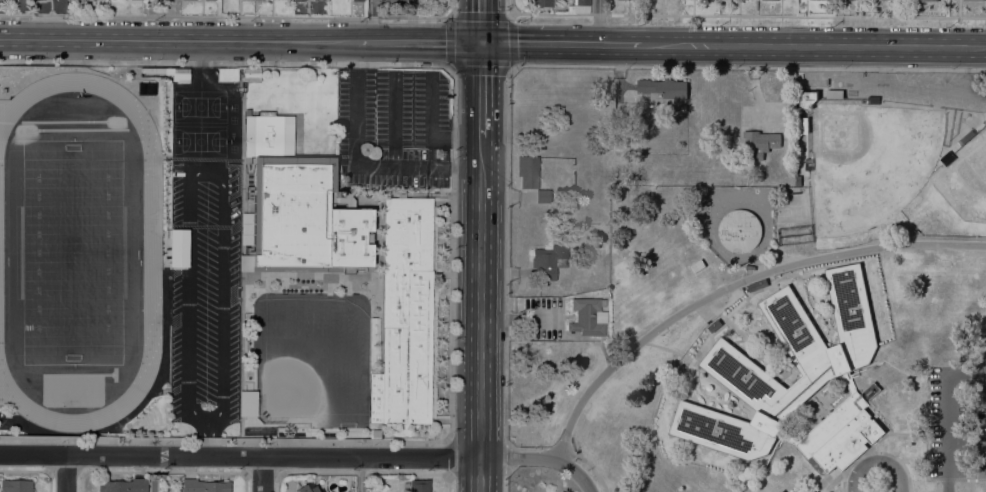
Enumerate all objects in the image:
building: (244, 0)
building: (298, 0)
building: (356, 0)
building: (395, 0)
building: (926, 0)
building: (132, 1)
building: (582, 2)
building: (540, 3)
building: (580, 9)
road: (738, 14)
road: (234, 16)
road: (509, 19)
road: (370, 20)
road: (479, 21)
road: (598, 21)
road: (178, 39)
road: (418, 41)
traffic signals: (479, 43)
road: (560, 43)
road: (814, 45)
road: (412, 65)
road: (560, 66)
building: (171, 73)
building: (227, 74)
building: (250, 74)
building: (661, 88)
parking lot: (934, 89)
road: (479, 90)
building: (835, 94)
building: (808, 98)
building: (872, 99)
road: (393, 119)
park: (200, 123)
building: (985, 123)
building: (803, 125)
road: (428, 131)
building: (758, 142)
building: (947, 158)
road: (355, 164)
building: (808, 164)
park: (873, 165)
building: (526, 172)
road: (204, 174)
building: (759, 175)
building: (798, 180)
building: (541, 196)
building: (299, 208)
building: (739, 230)
storage tank: (739, 230)
building: (896, 231)
building: (178, 247)
park: (72, 252)
track: (152, 252)
building: (548, 260)
building: (697, 265)
road: (732, 284)
building: (757, 285)
building: (740, 291)
building: (404, 315)
road: (479, 315)
building: (586, 316)
building: (600, 317)
building: (714, 325)
park: (312, 360)
building: (827, 367)
road: (947, 412)
building: (375, 433)
road: (207, 441)
road: (564, 452)
road: (239, 456)
road: (449, 457)
road: (507, 457)
road: (541, 458)
road: (876, 462)
road: (66, 474)
road: (262, 474)
road: (360, 474)
road: (504, 480)
road: (447, 482)
building: (15, 485)
building: (122, 485)
building: (204, 486)
building: (419, 486)
building: (308, 487)

